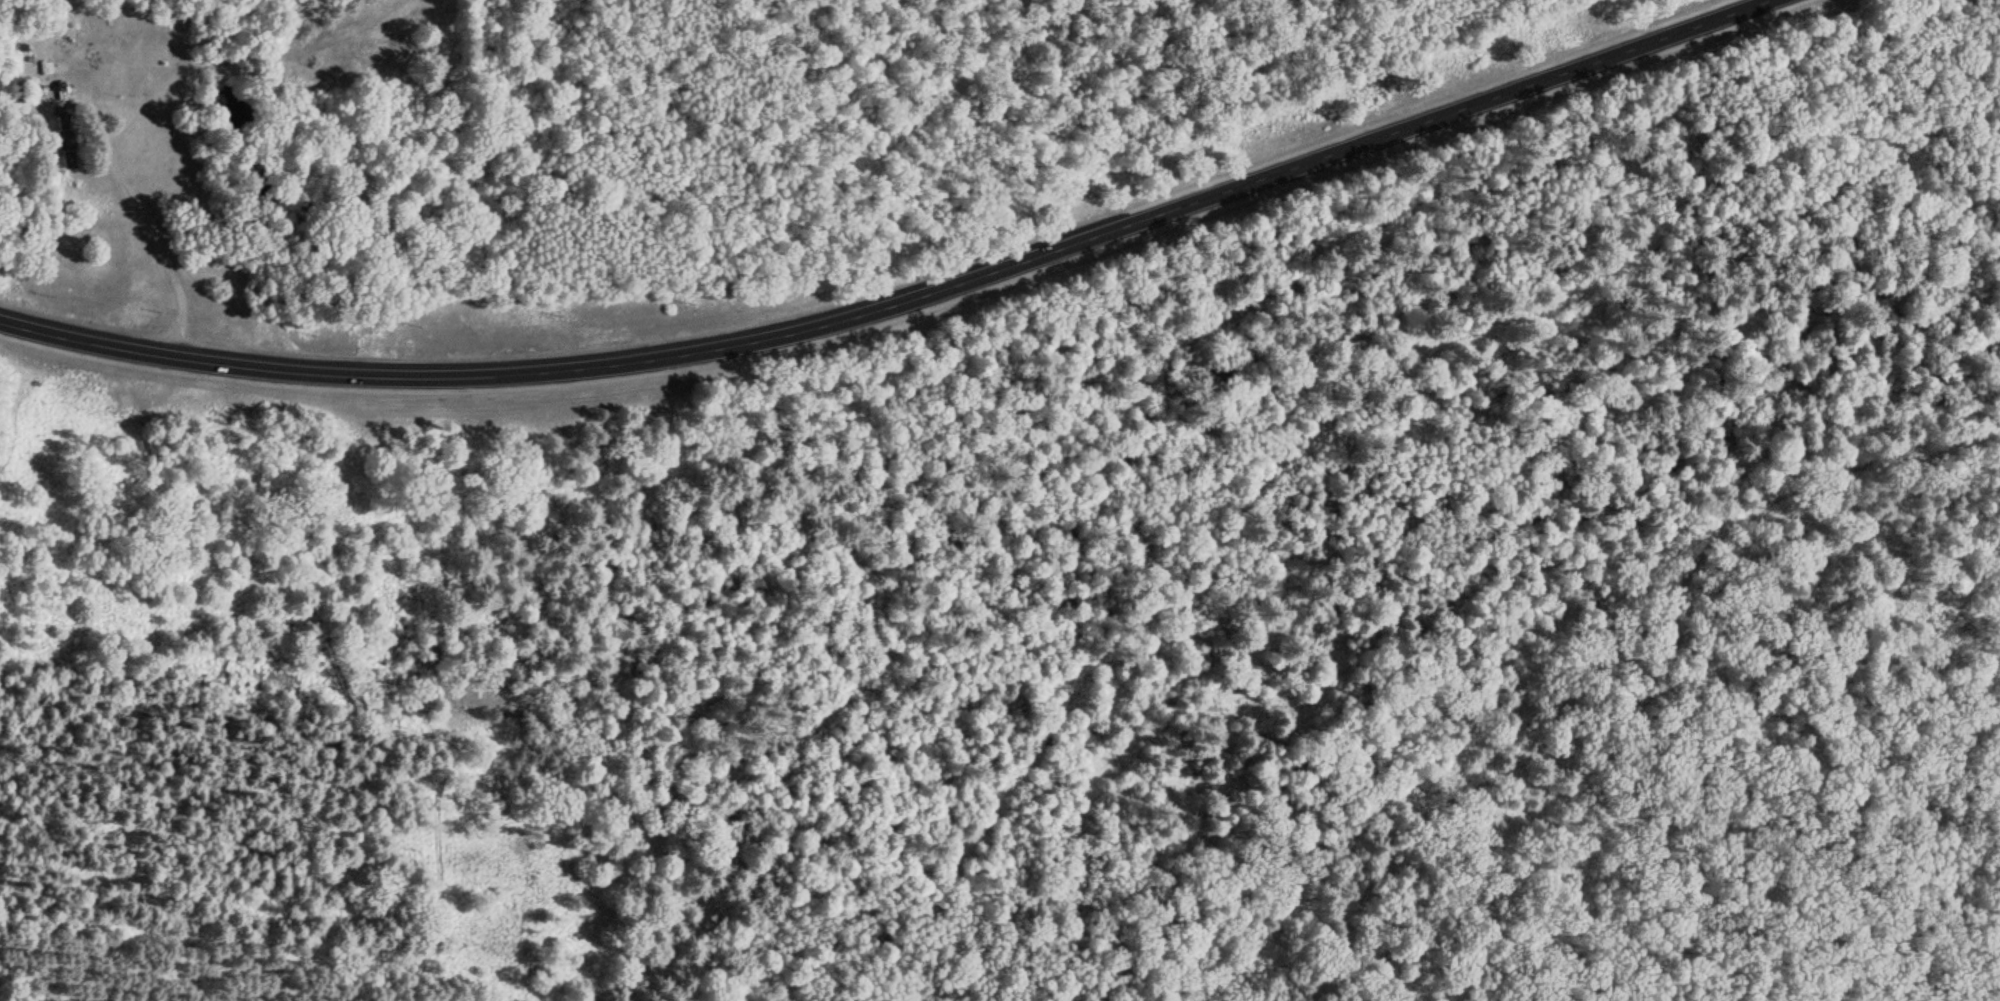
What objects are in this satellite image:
building: (67, 136)
road: (904, 301)
road: (1618, 667)

